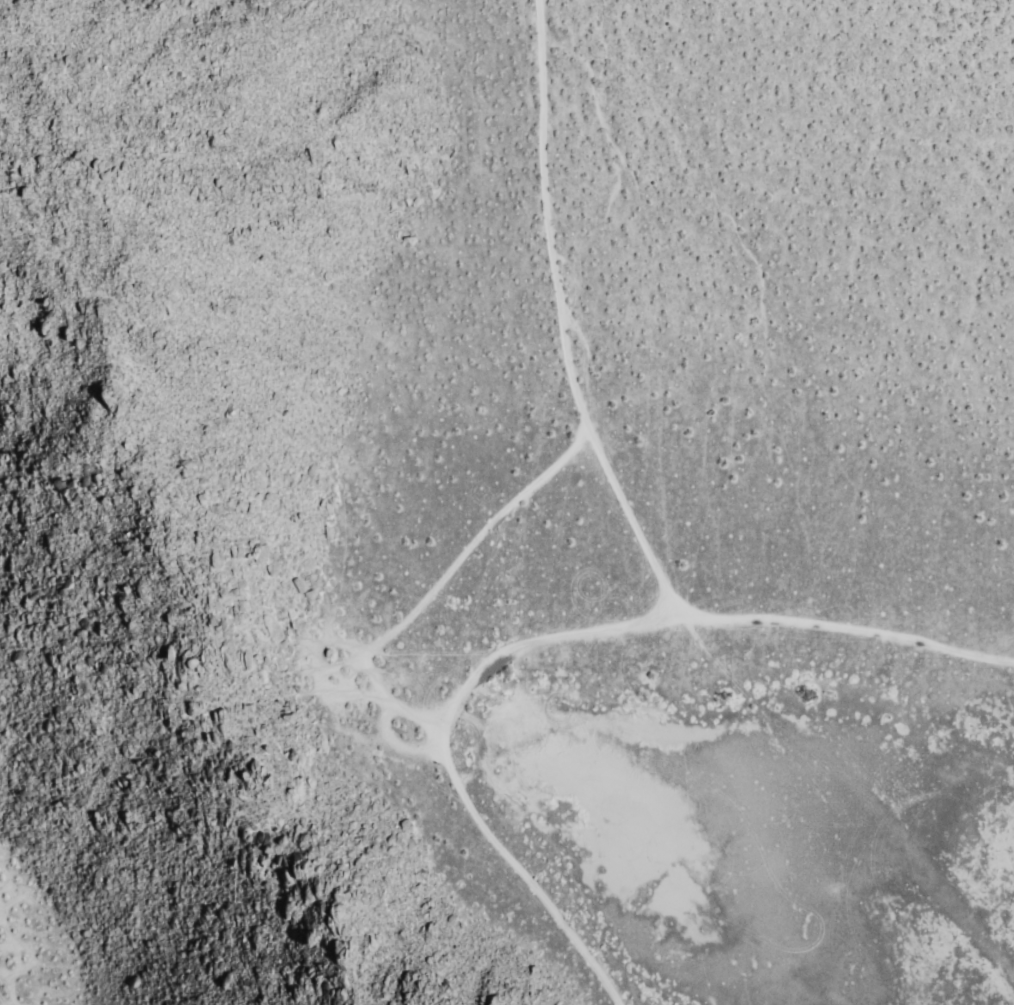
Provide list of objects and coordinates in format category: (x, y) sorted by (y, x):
road: (442, 579)
road: (665, 598)
road: (841, 629)
airport runway: (898, 870)

